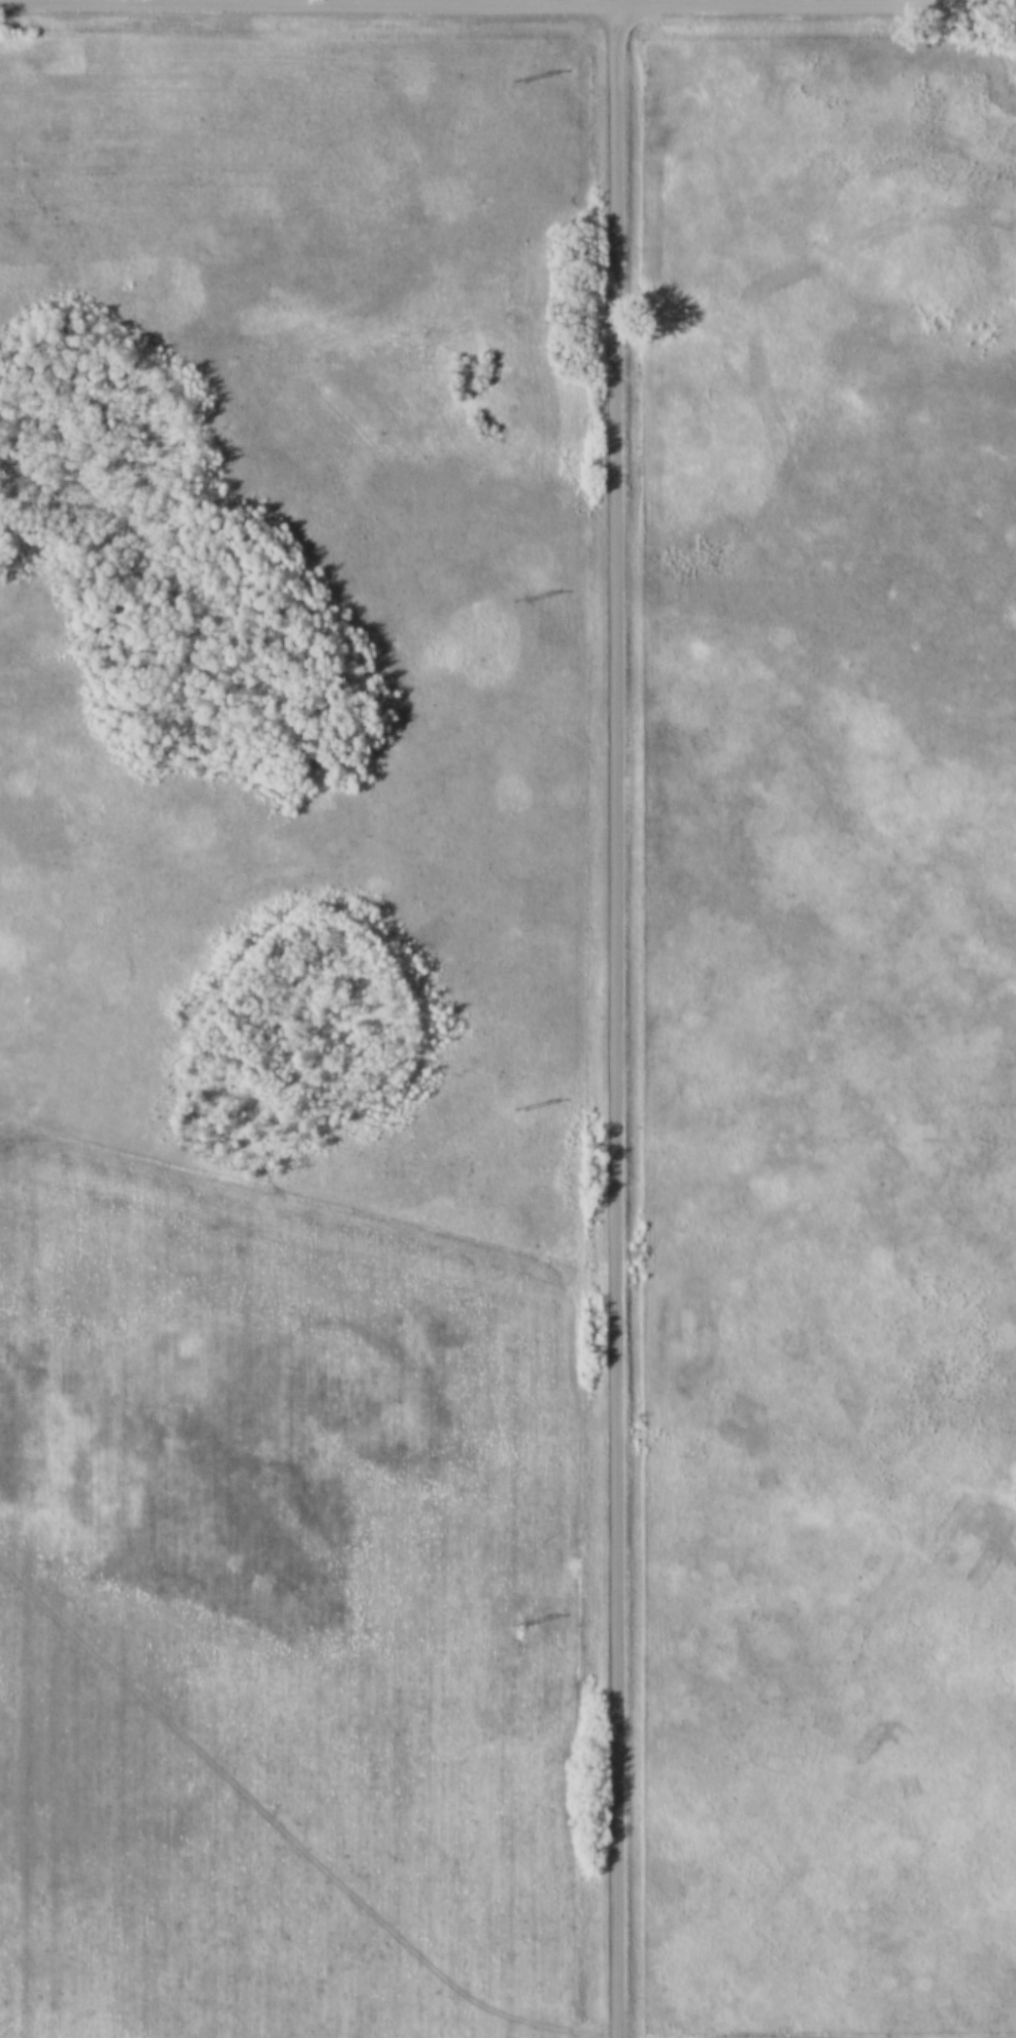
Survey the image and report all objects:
power tower: (515, 81)
power tower: (518, 599)
road: (616, 1018)
power tower: (523, 1111)
power tower: (522, 1624)

